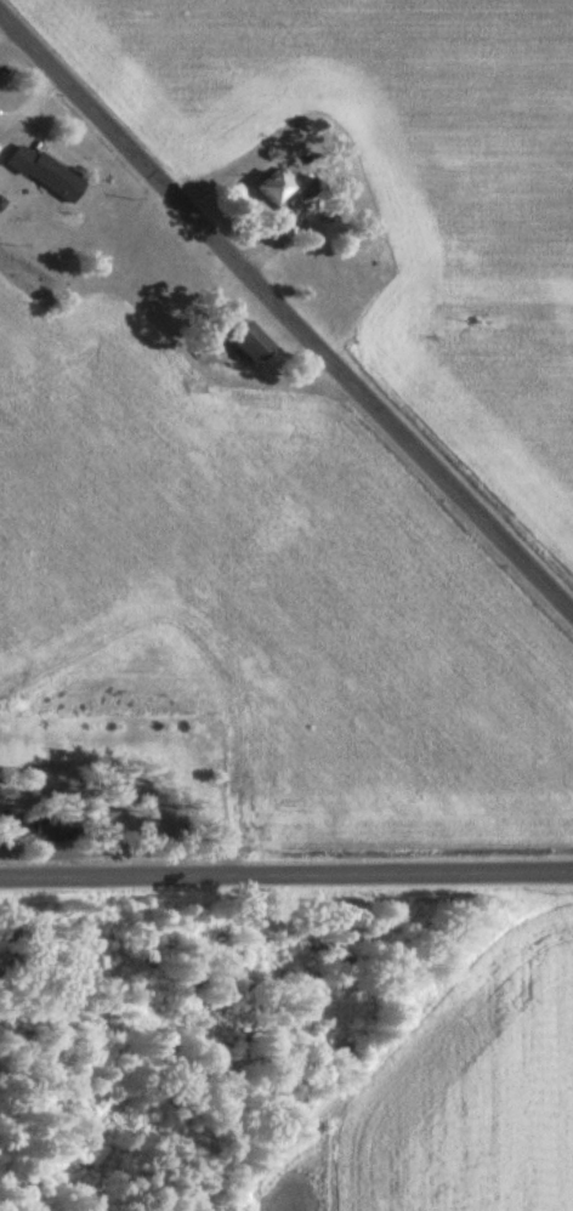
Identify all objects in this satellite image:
building: (41, 174)
building: (272, 187)
road: (286, 308)
building: (246, 343)
road: (286, 871)

